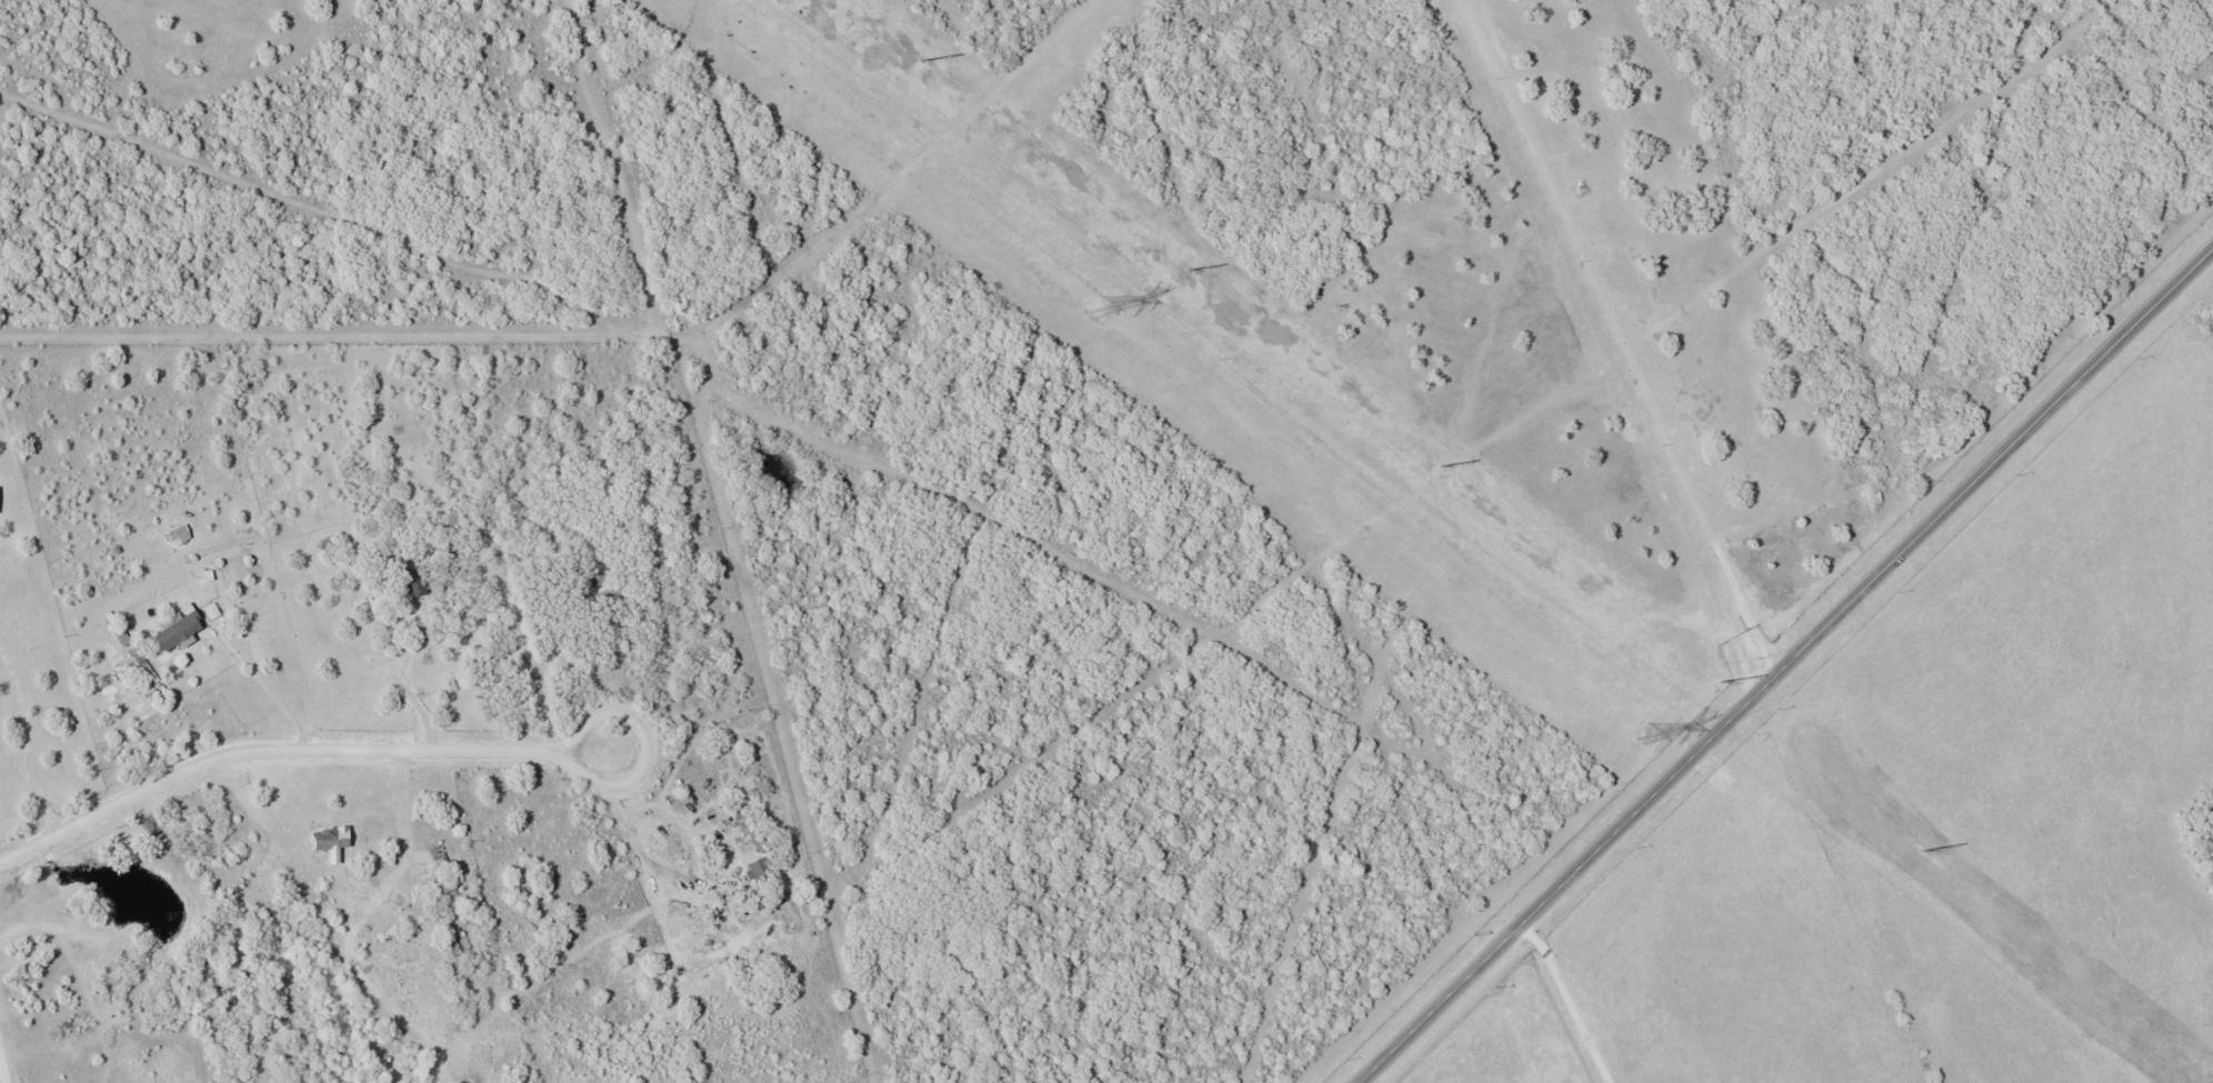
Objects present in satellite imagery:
power tower: (1097, 307)
building: (179, 535)
building: (413, 582)
building: (608, 594)
road: (1789, 670)
power tower: (1644, 735)
road: (266, 750)
road: (642, 772)
building: (748, 828)
building: (328, 840)
building: (437, 856)
building: (755, 869)
building: (444, 890)

